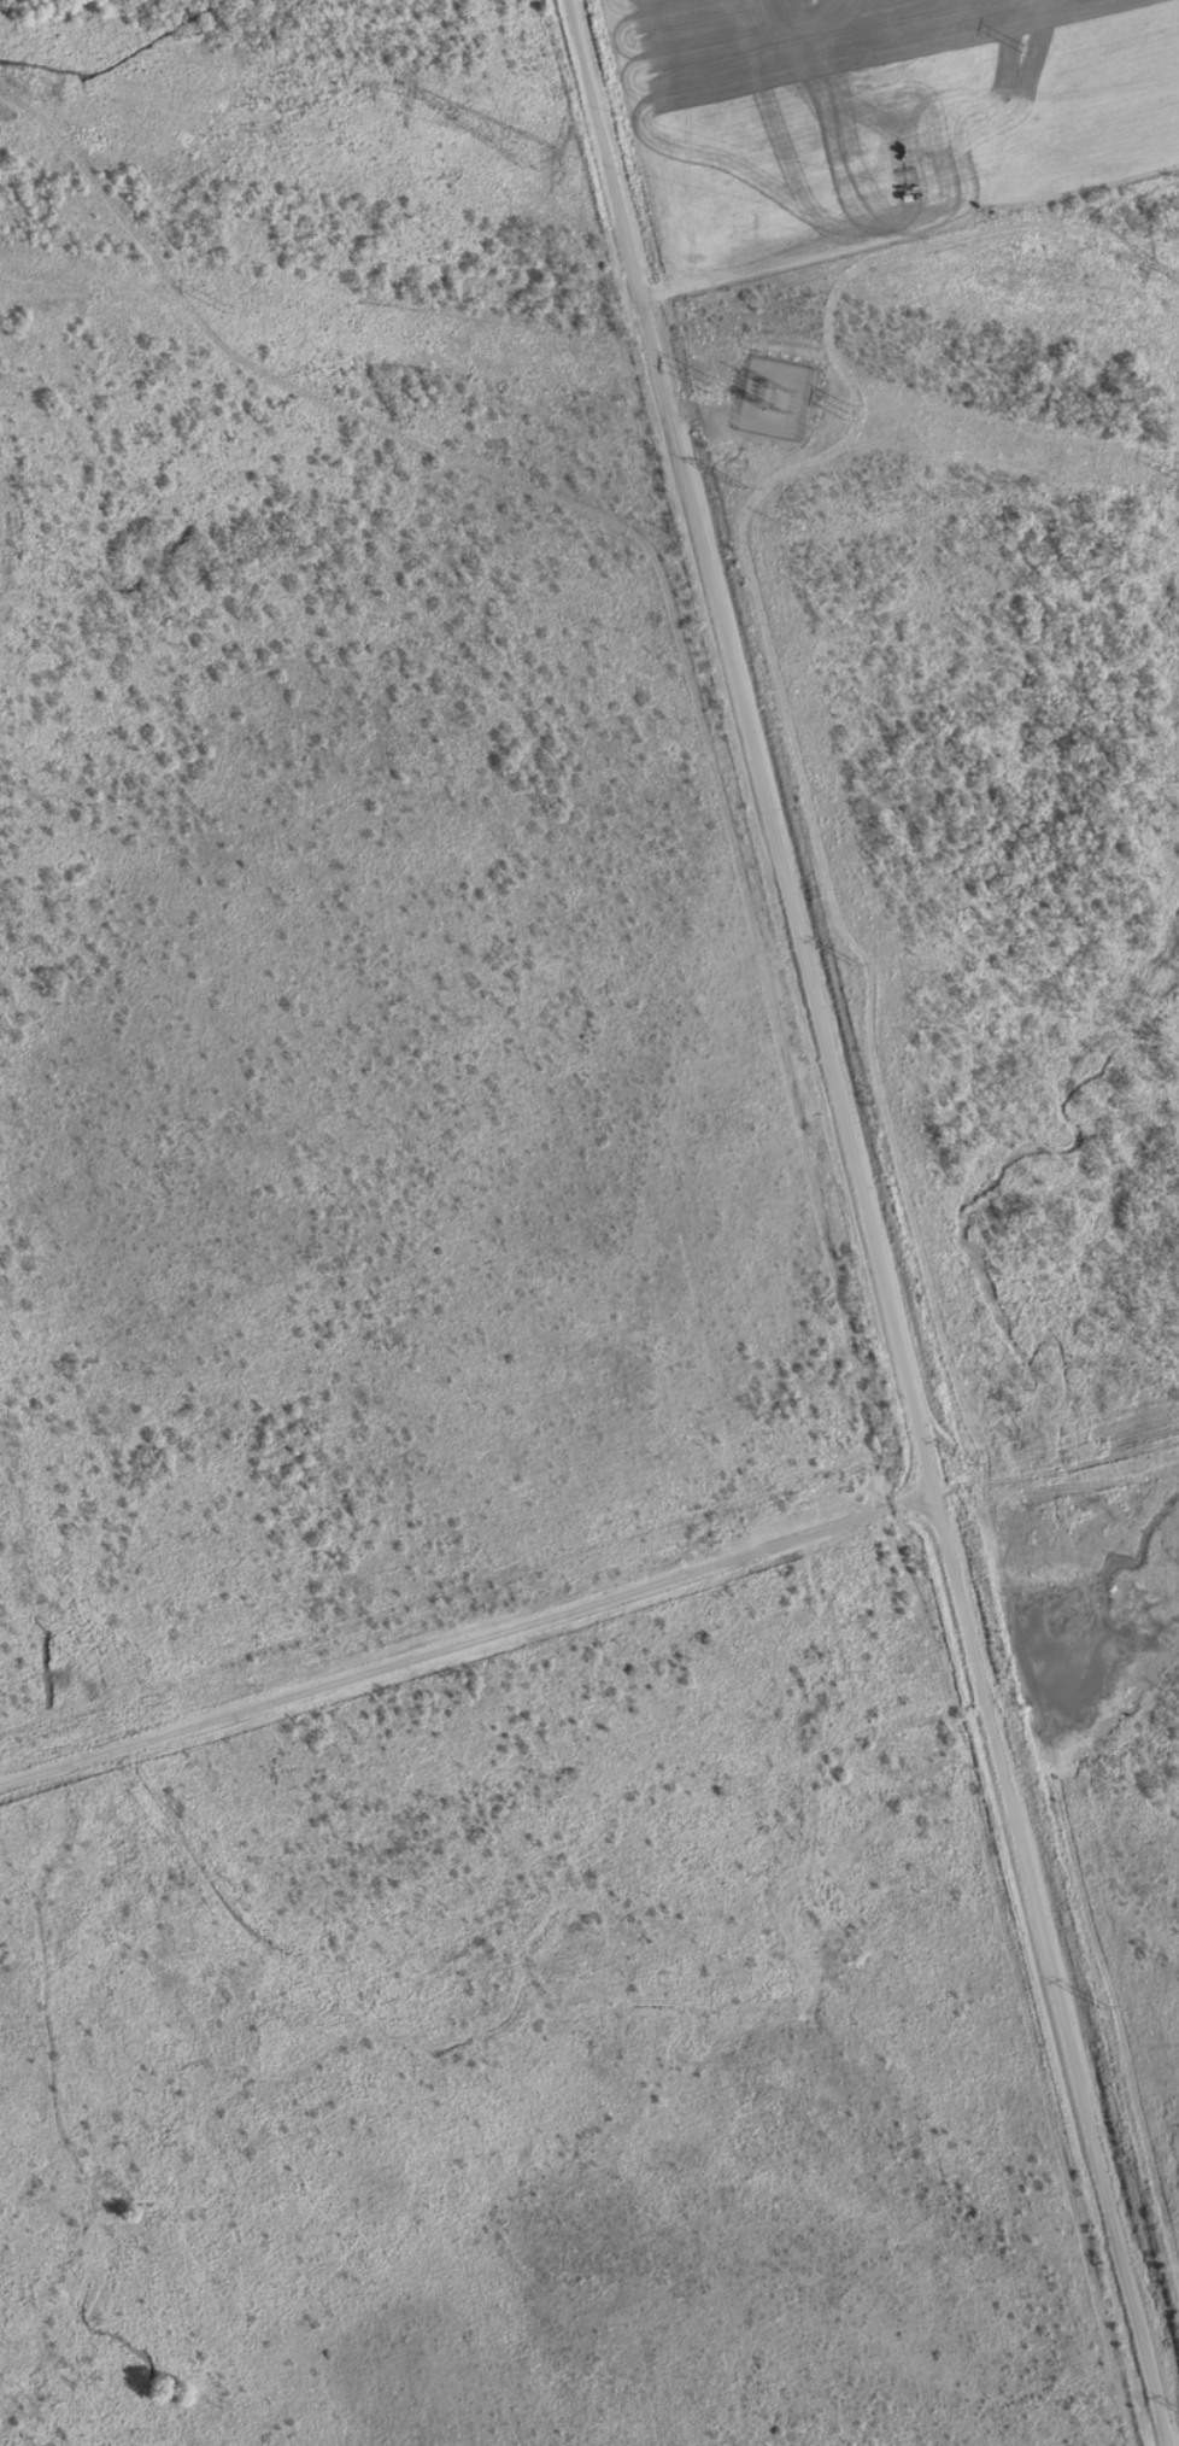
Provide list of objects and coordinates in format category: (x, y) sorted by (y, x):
power tower: (1021, 49)
power tower: (40, 84)
power tower: (522, 148)
power tower: (217, 306)
power tower: (699, 384)
road: (828, 1223)
road: (587, 1620)

